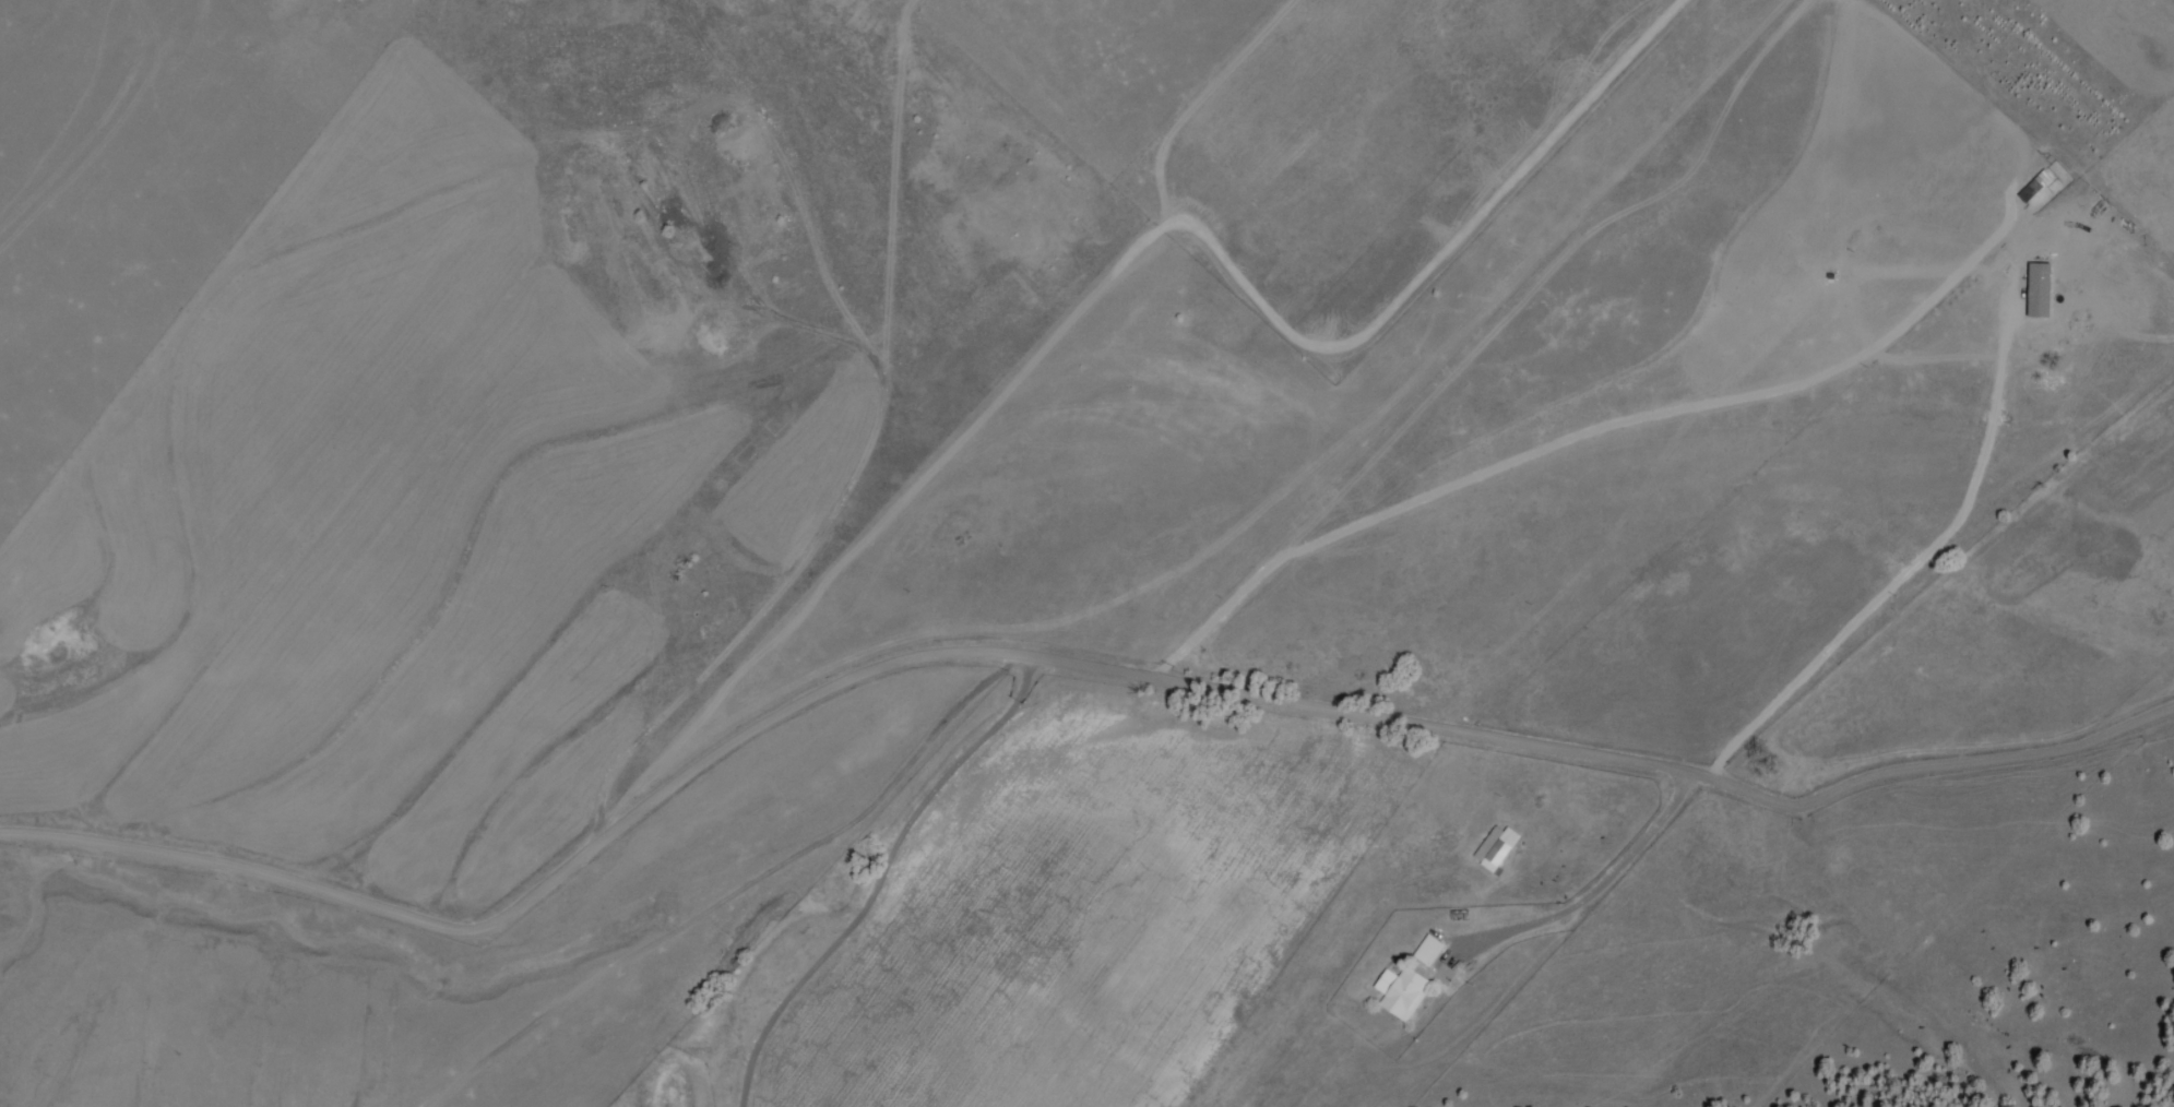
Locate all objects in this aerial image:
road: (1052, 652)
building: (1495, 848)
building: (1409, 981)

